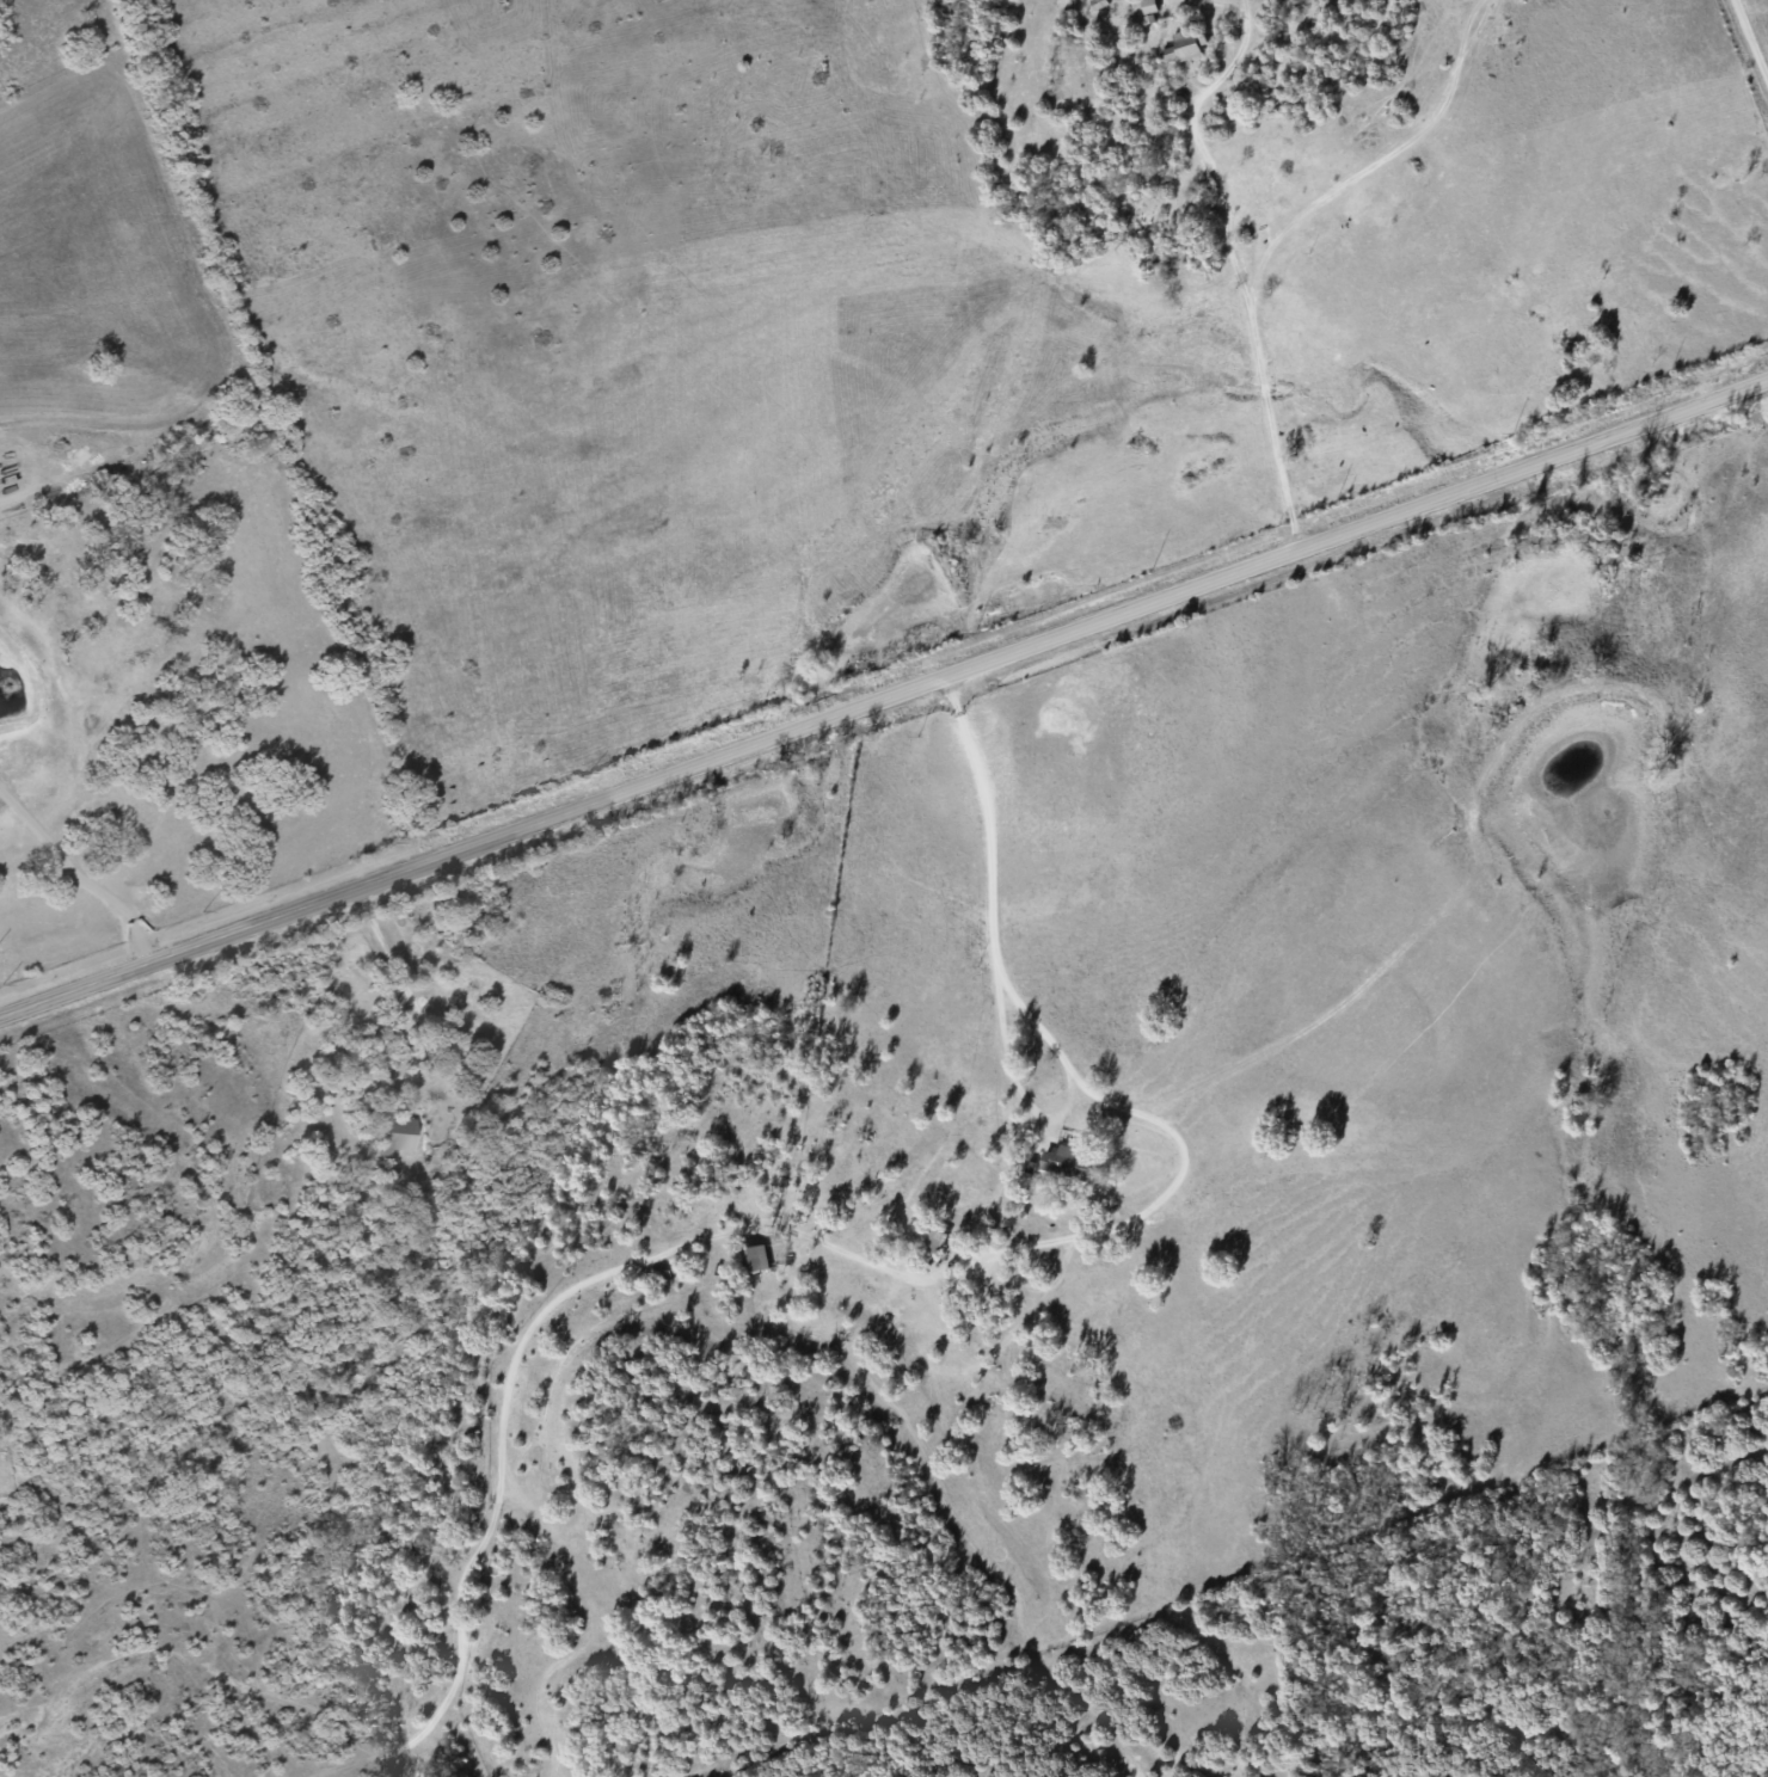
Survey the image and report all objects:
building: (1180, 48)
road: (1749, 48)
road: (1230, 265)
road: (884, 696)
road: (79, 874)
road: (403, 983)
road: (995, 992)
building: (394, 1135)
building: (1066, 1162)
road: (1094, 1232)
building: (933, 1241)
building: (753, 1259)

